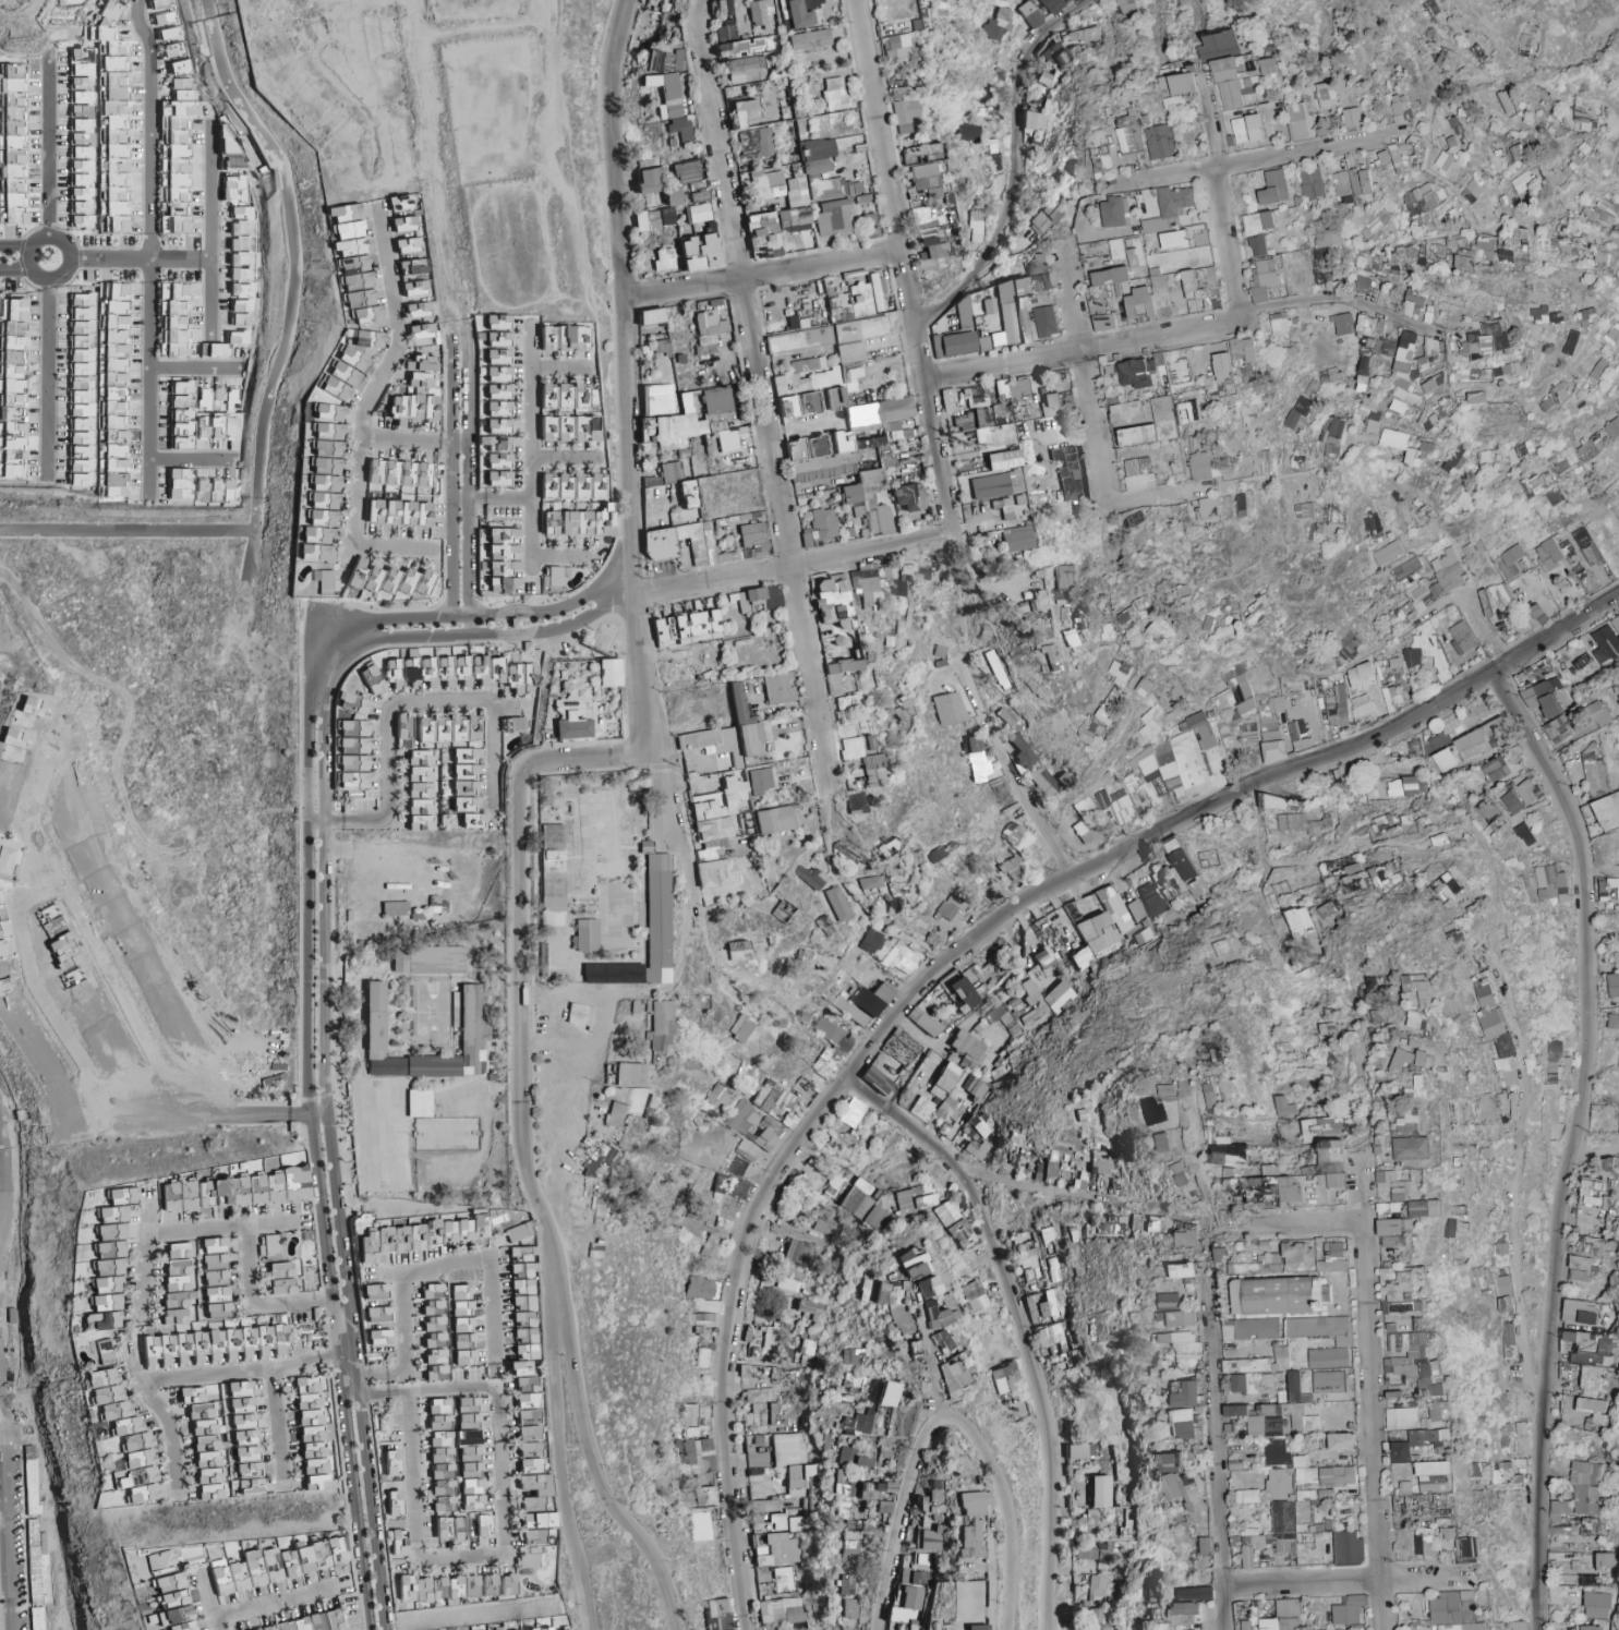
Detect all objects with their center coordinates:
building: (1501, 0)
building: (723, 5)
building: (1126, 5)
building: (1038, 11)
building: (164, 12)
building: (797, 12)
building: (760, 14)
building: (995, 26)
building: (170, 34)
building: (724, 34)
building: (1084, 35)
building: (809, 40)
building: (739, 48)
building: (896, 48)
building: (1055, 53)
building: (678, 59)
building: (659, 61)
building: (1450, 61)
building: (1234, 68)
building: (746, 69)
building: (1044, 79)
building: (1180, 87)
building: (665, 94)
building: (897, 94)
building: (834, 95)
building: (1326, 95)
building: (1506, 100)
building: (1403, 108)
building: (744, 112)
building: (903, 116)
building: (1352, 117)
building: (1583, 119)
building: (1297, 121)
building: (1037, 124)
building: (100, 125)
building: (1457, 125)
building: (1248, 128)
building: (680, 129)
building: (966, 132)
building: (1134, 132)
building: (178, 140)
building: (1162, 142)
building: (754, 143)
building: (13, 144)
building: (1454, 144)
building: (230, 149)
building: (815, 149)
building: (916, 154)
building: (991, 155)
building: (1401, 156)
building: (1385, 158)
building: (1446, 160)
building: (815, 167)
building: (686, 172)
building: (923, 179)
building: (648, 181)
building: (1362, 181)
building: (1523, 182)
building: (1312, 183)
building: (766, 184)
building: (1274, 186)
building: (1475, 186)
building: (1342, 188)
building: (827, 189)
building: (235, 190)
building: (796, 190)
building: (673, 196)
building: (698, 197)
building: (861, 198)
building: (1423, 198)
building: (400, 203)
building: (1113, 212)
building: (698, 213)
building: (666, 216)
building: (833, 218)
building: (1046, 218)
building: (793, 219)
building: (645, 221)
building: (869, 226)
building: (975, 227)
building: (1259, 231)
building: (926, 234)
building: (761, 236)
building: (1184, 237)
building: (700, 253)
park: (47, 257)
building: (663, 259)
building: (354, 265)
building: (242, 275)
building: (416, 289)
building: (173, 321)
park: (542, 1571)

